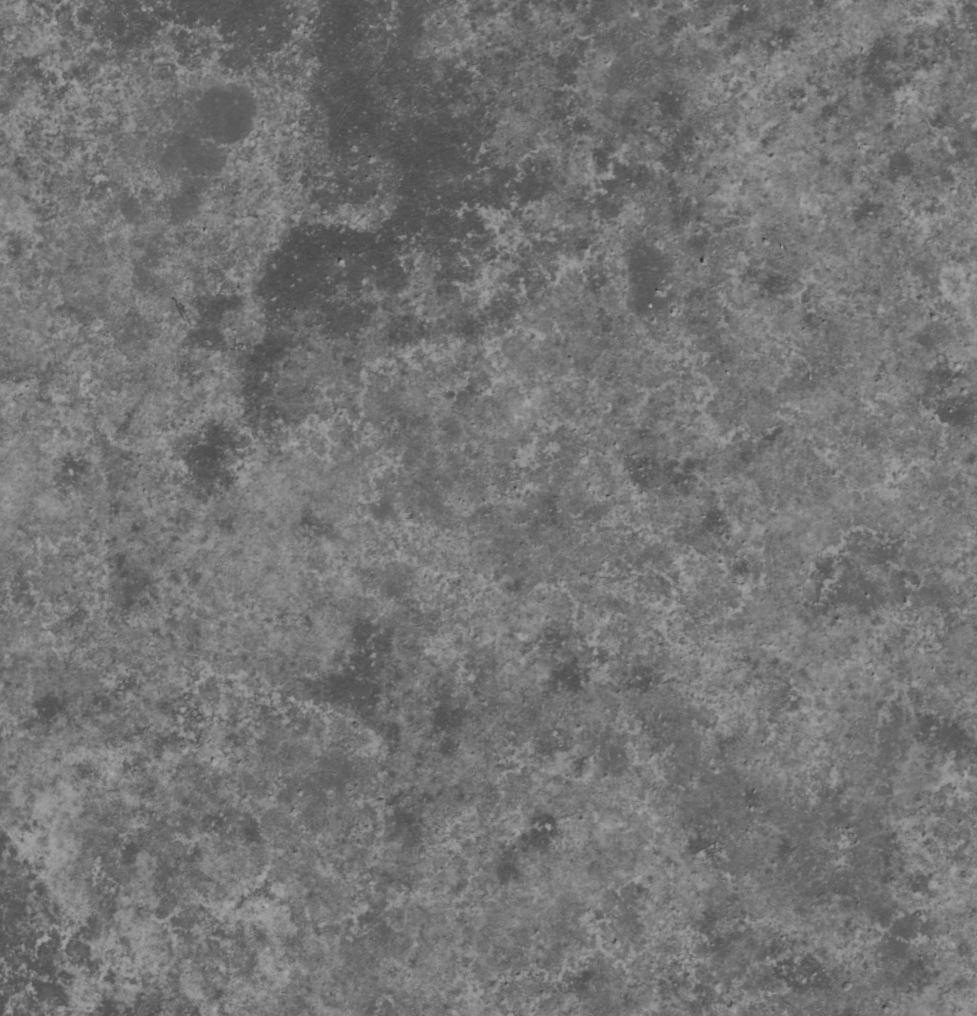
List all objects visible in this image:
power tower: (186, 322)

